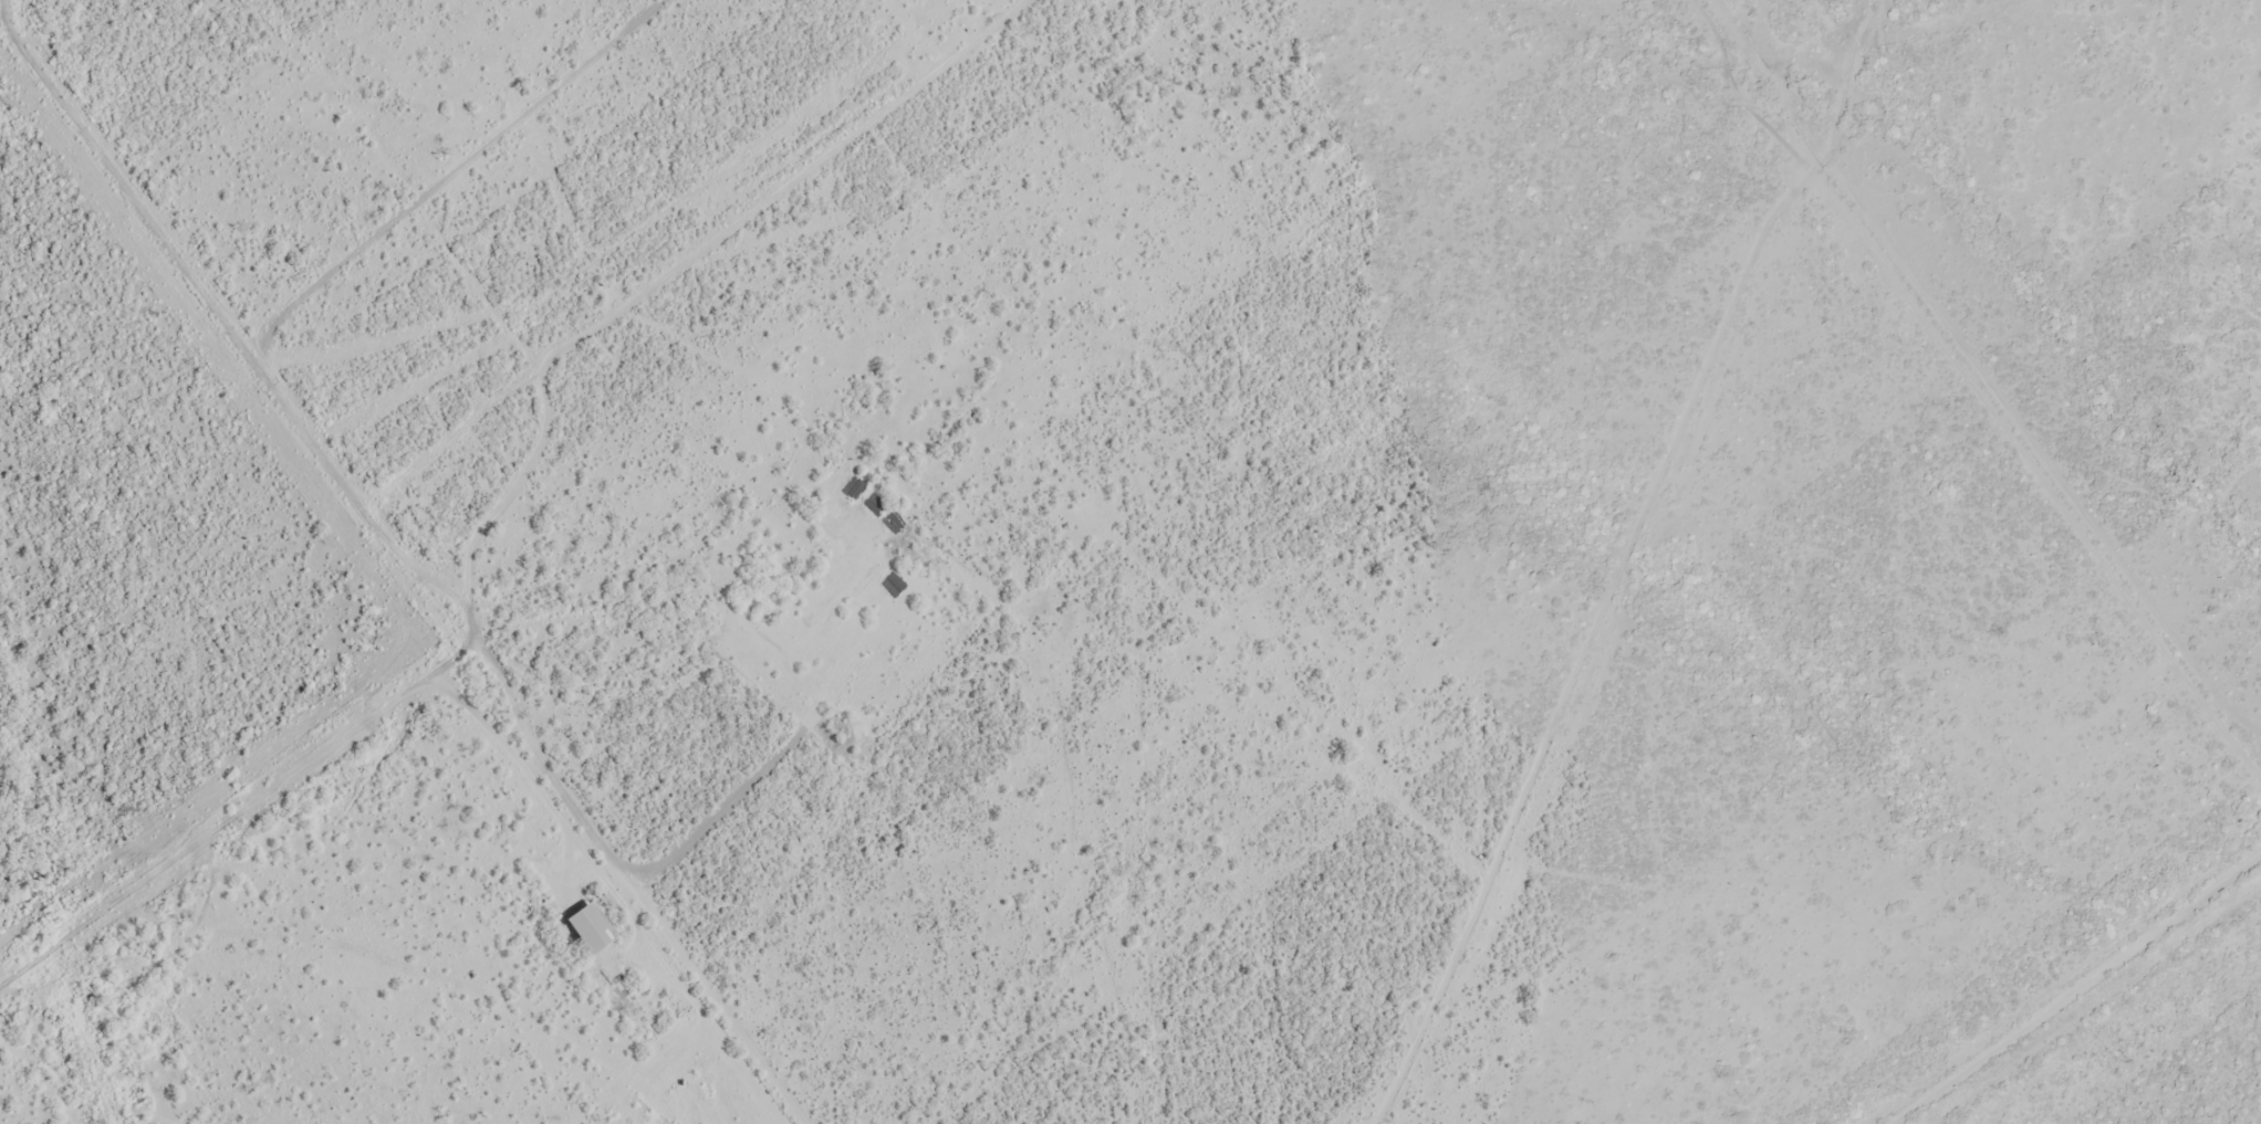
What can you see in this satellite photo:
building: (590, 927)
road: (2106, 1008)

